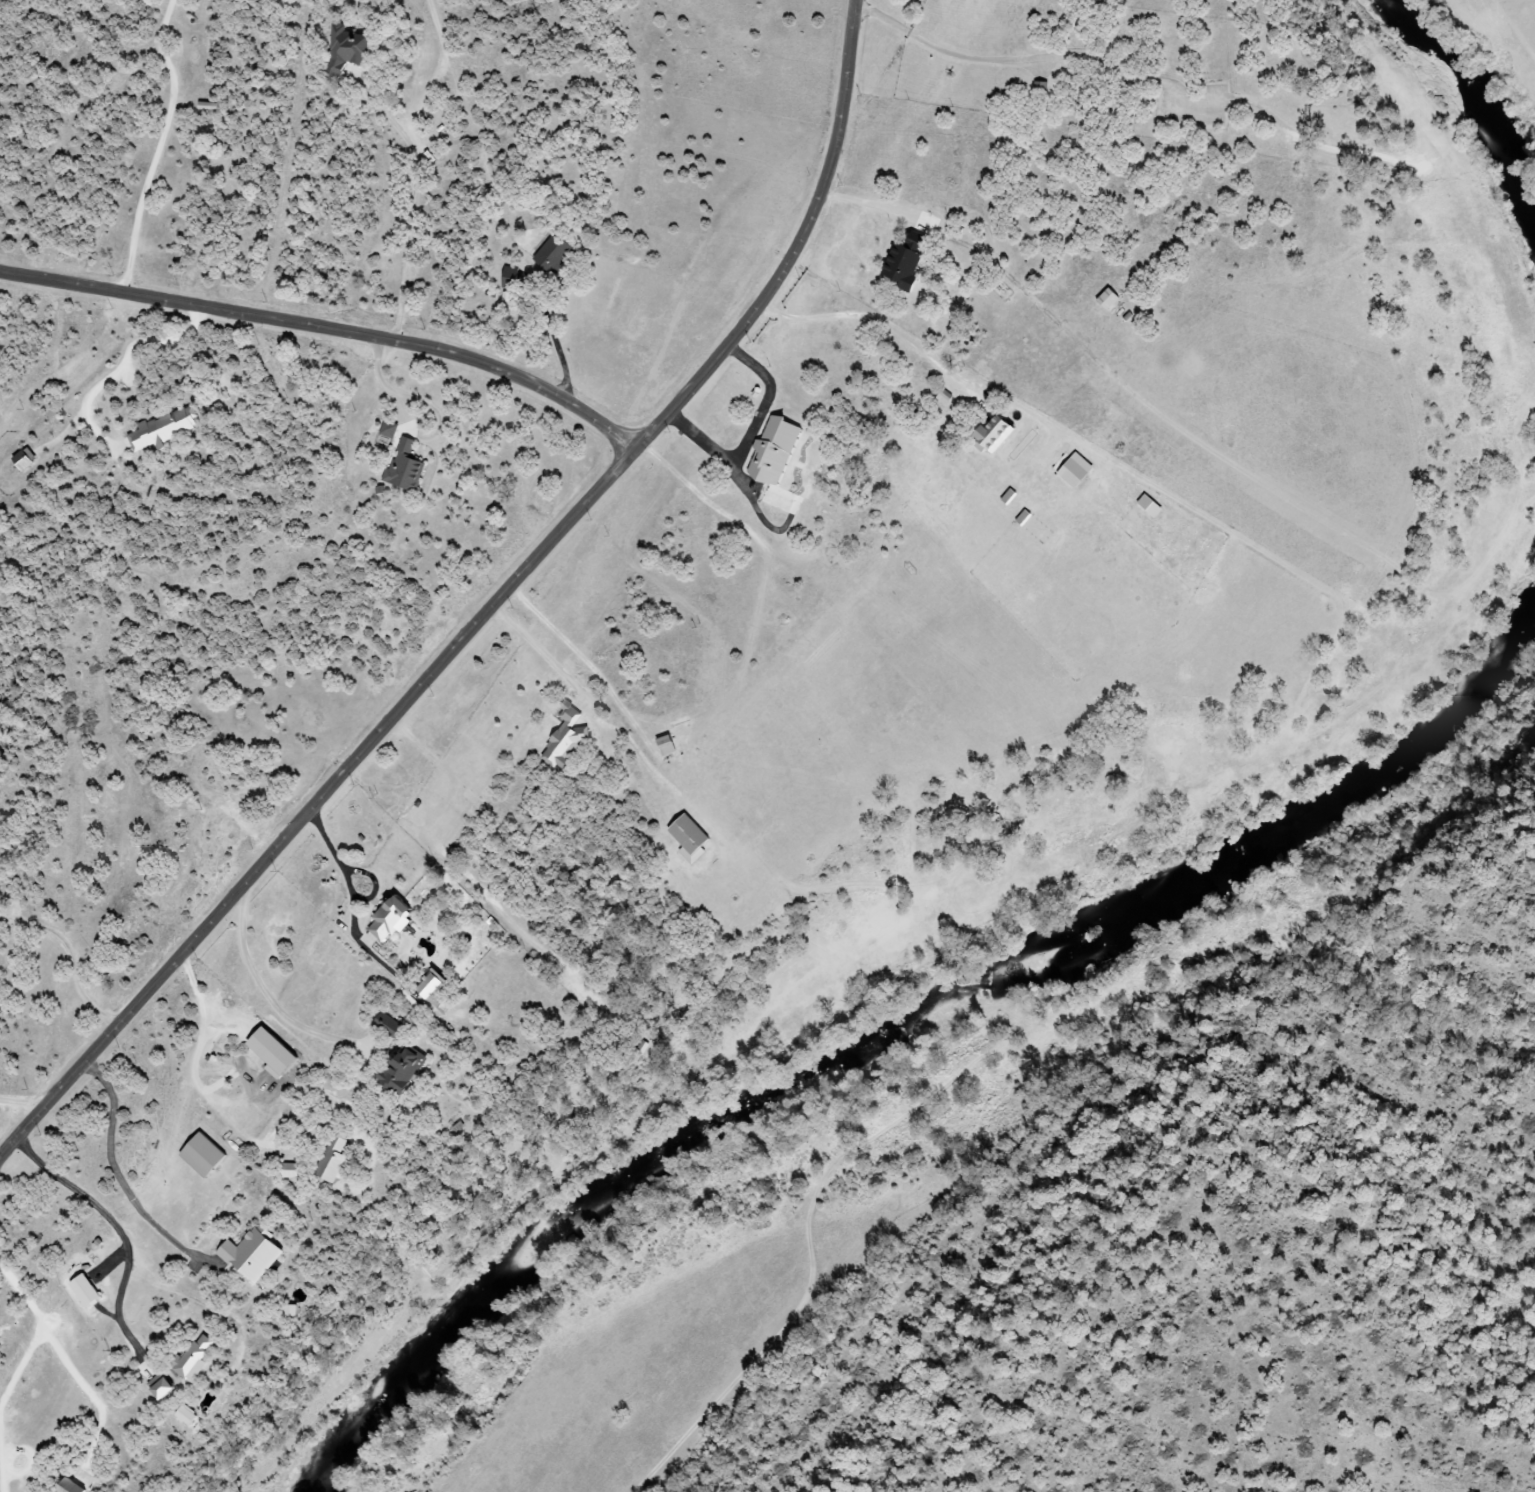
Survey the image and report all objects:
building: (345, 49)
river: (1479, 102)
road: (159, 145)
road: (868, 205)
road: (410, 214)
building: (552, 255)
building: (903, 259)
building: (505, 277)
road: (872, 321)
road: (329, 331)
road: (155, 335)
road: (559, 347)
building: (163, 429)
road: (411, 429)
building: (387, 430)
road: (750, 434)
building: (991, 436)
building: (772, 452)
building: (22, 460)
building: (404, 467)
building: (1073, 470)
road: (491, 612)
road: (584, 699)
building: (564, 738)
building: (687, 838)
road: (339, 870)
building: (388, 919)
road: (70, 959)
road: (271, 996)
river: (902, 1021)
building: (401, 1071)
road: (203, 1087)
road: (23, 1099)
building: (201, 1155)
building: (330, 1160)
building: (287, 1171)
road: (121, 1181)
road: (120, 1227)
building: (249, 1255)
building: (83, 1290)
building: (290, 1311)
road: (37, 1329)
building: (192, 1358)
building: (159, 1387)
building: (185, 1415)
road: (1, 1475)
building: (68, 1487)

